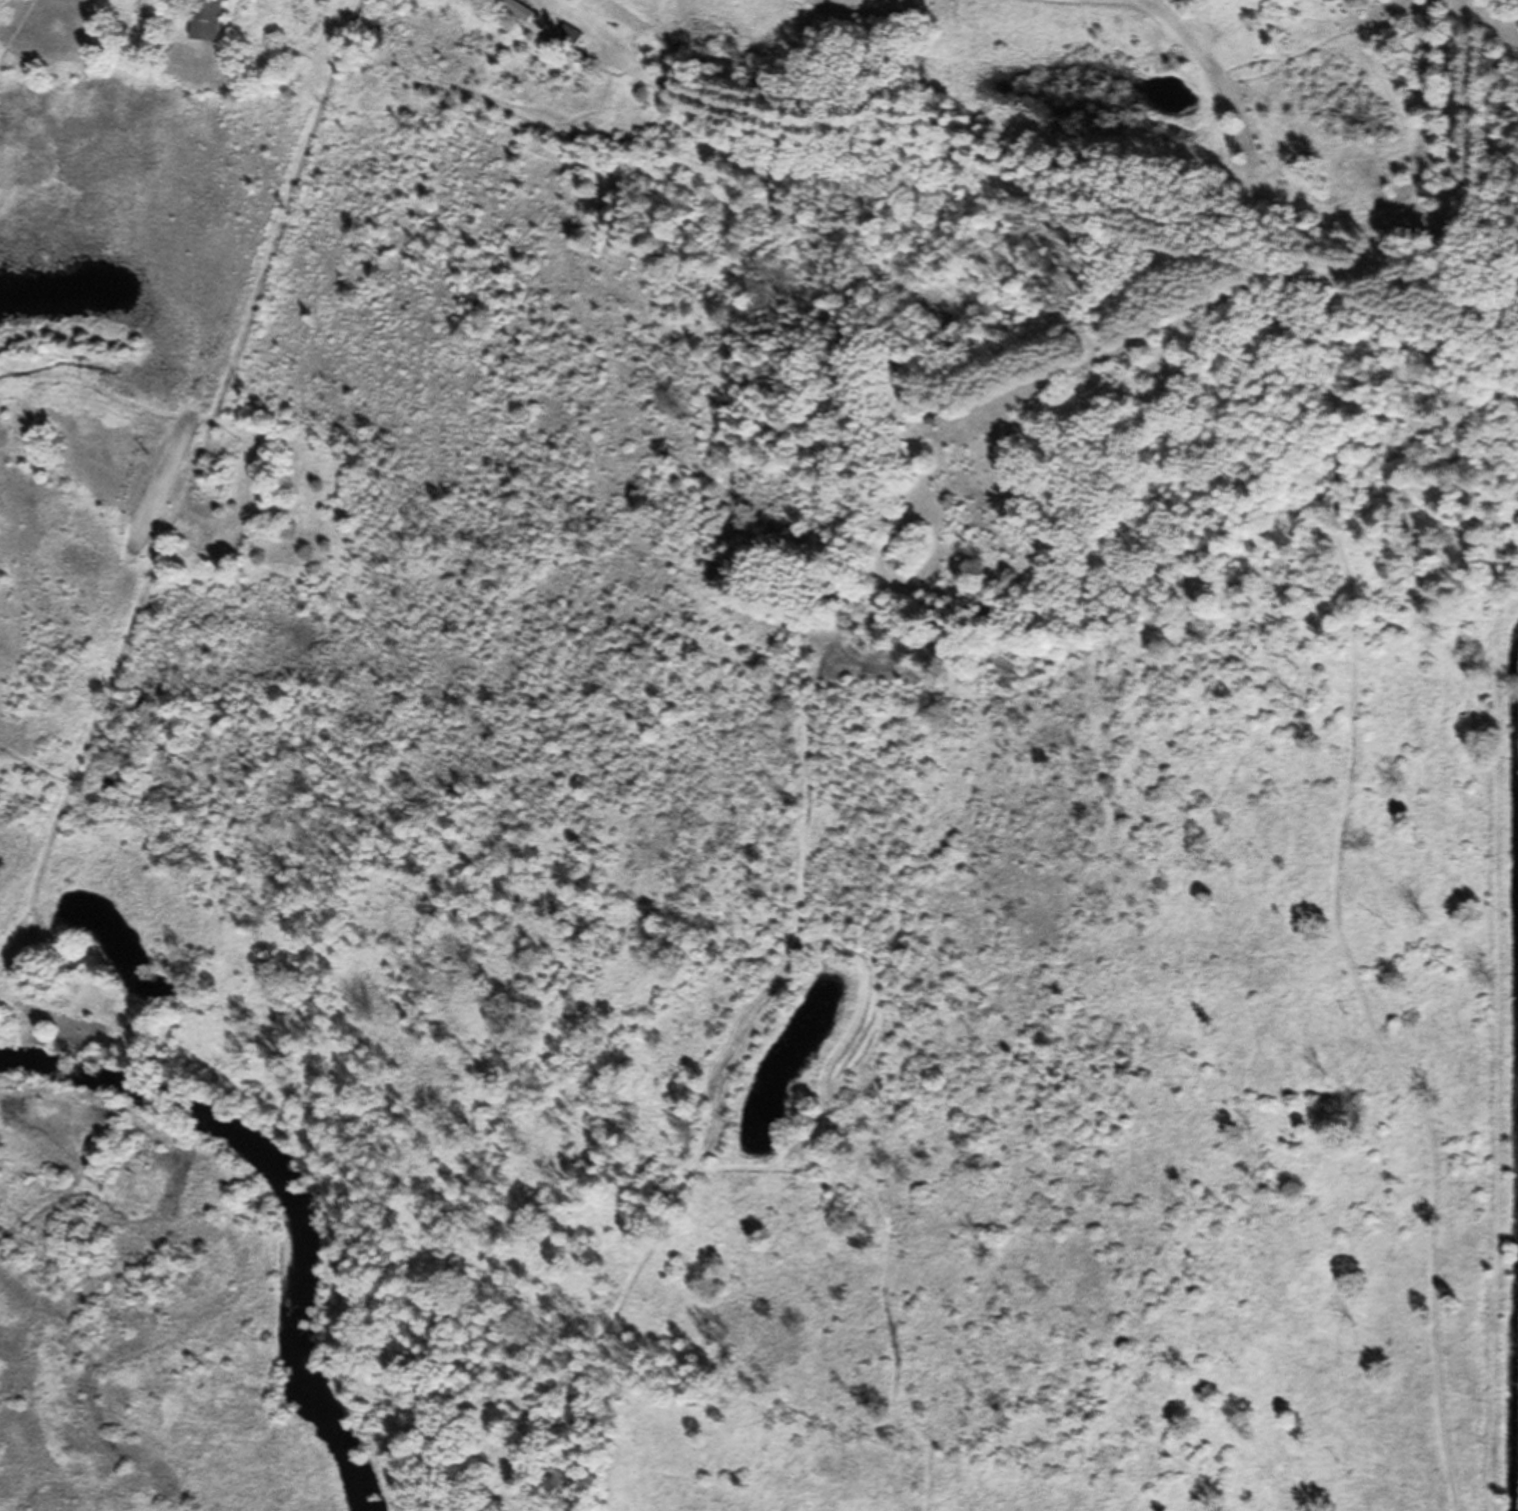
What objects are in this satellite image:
building: (209, 24)
building: (569, 47)
river: (296, 1194)

